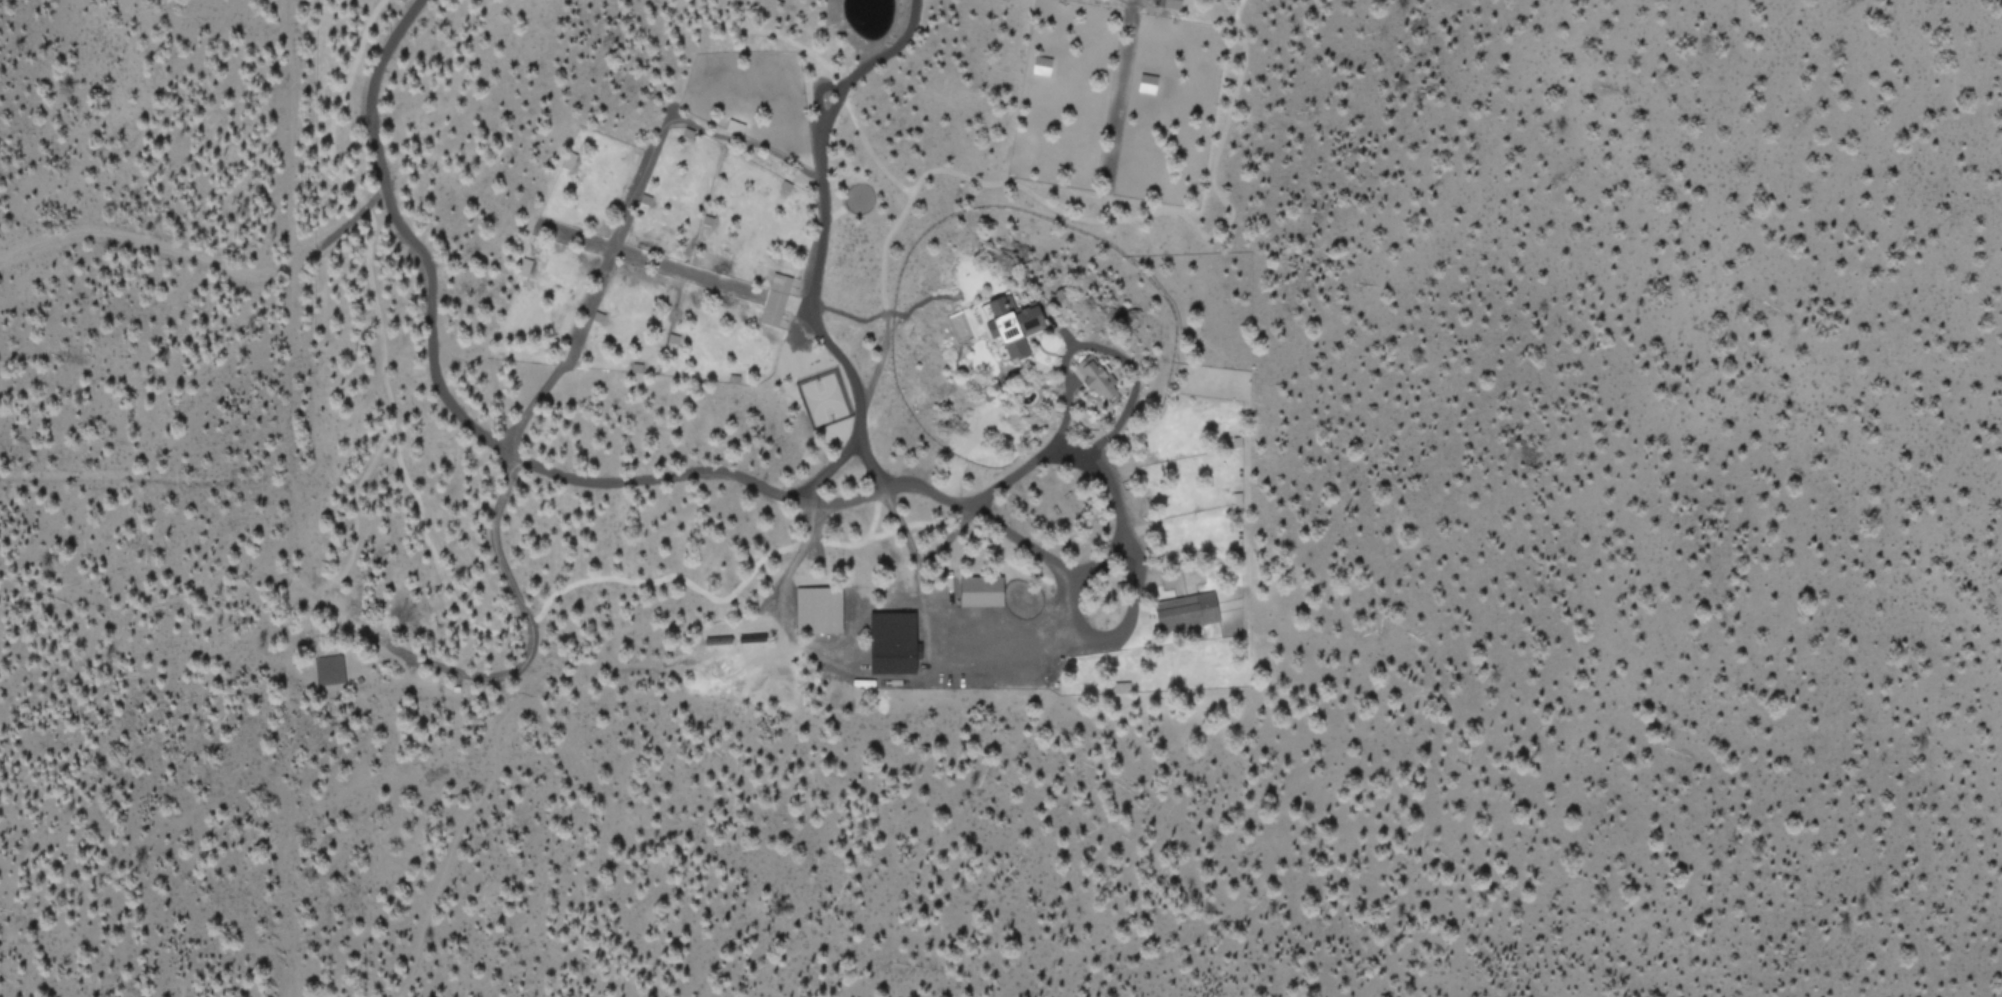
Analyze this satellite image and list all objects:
building: (1040, 64)
building: (1147, 82)
road: (184, 257)
building: (774, 299)
building: (1017, 324)
building: (1098, 376)
building: (982, 590)
building: (818, 609)
building: (1186, 610)
building: (895, 642)

